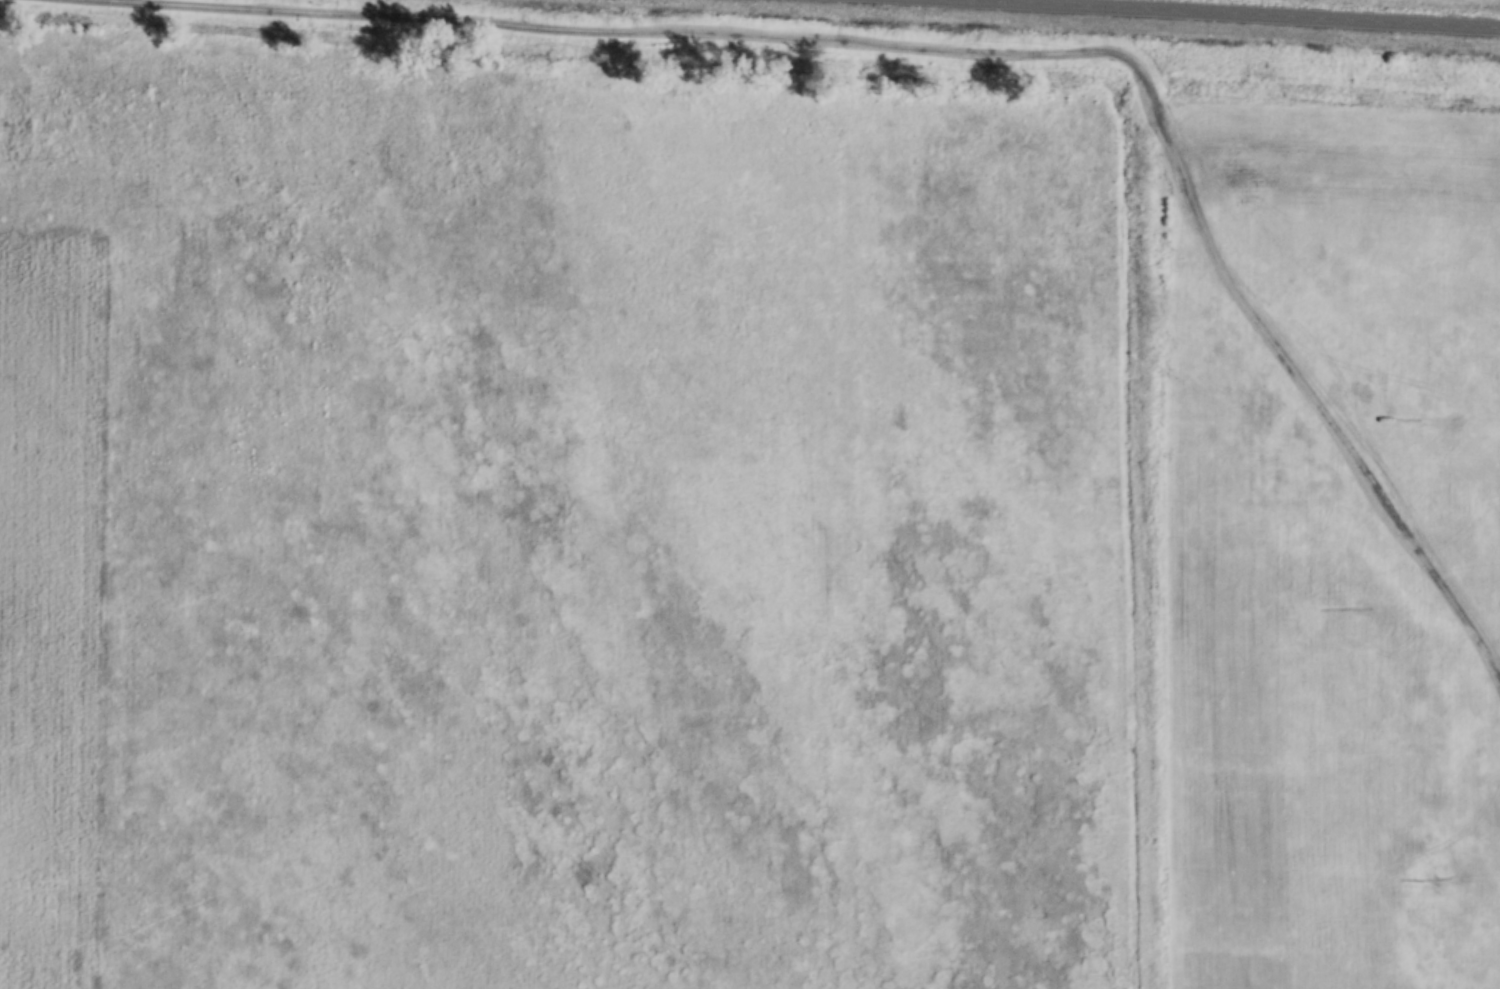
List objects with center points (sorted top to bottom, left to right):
road: (1234, 14)

